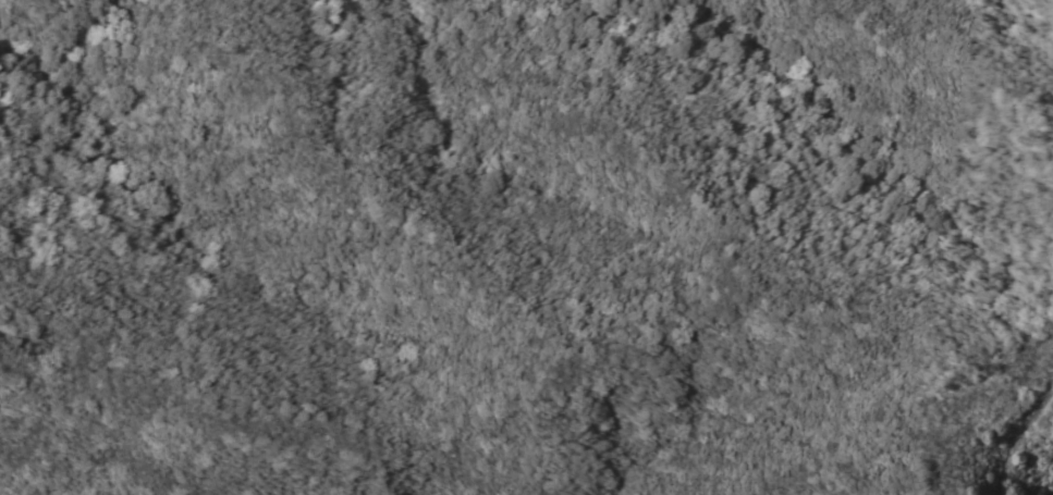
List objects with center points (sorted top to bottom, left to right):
road: (1051, 394)
road: (1012, 435)

